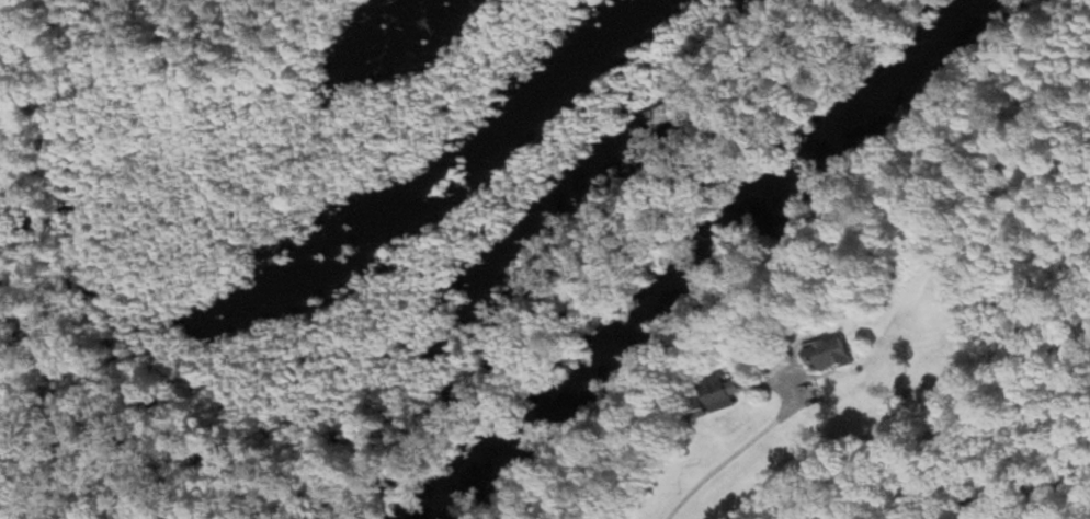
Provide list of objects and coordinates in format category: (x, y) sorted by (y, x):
river: (699, 262)
building: (830, 354)
building: (724, 393)
road: (736, 454)

